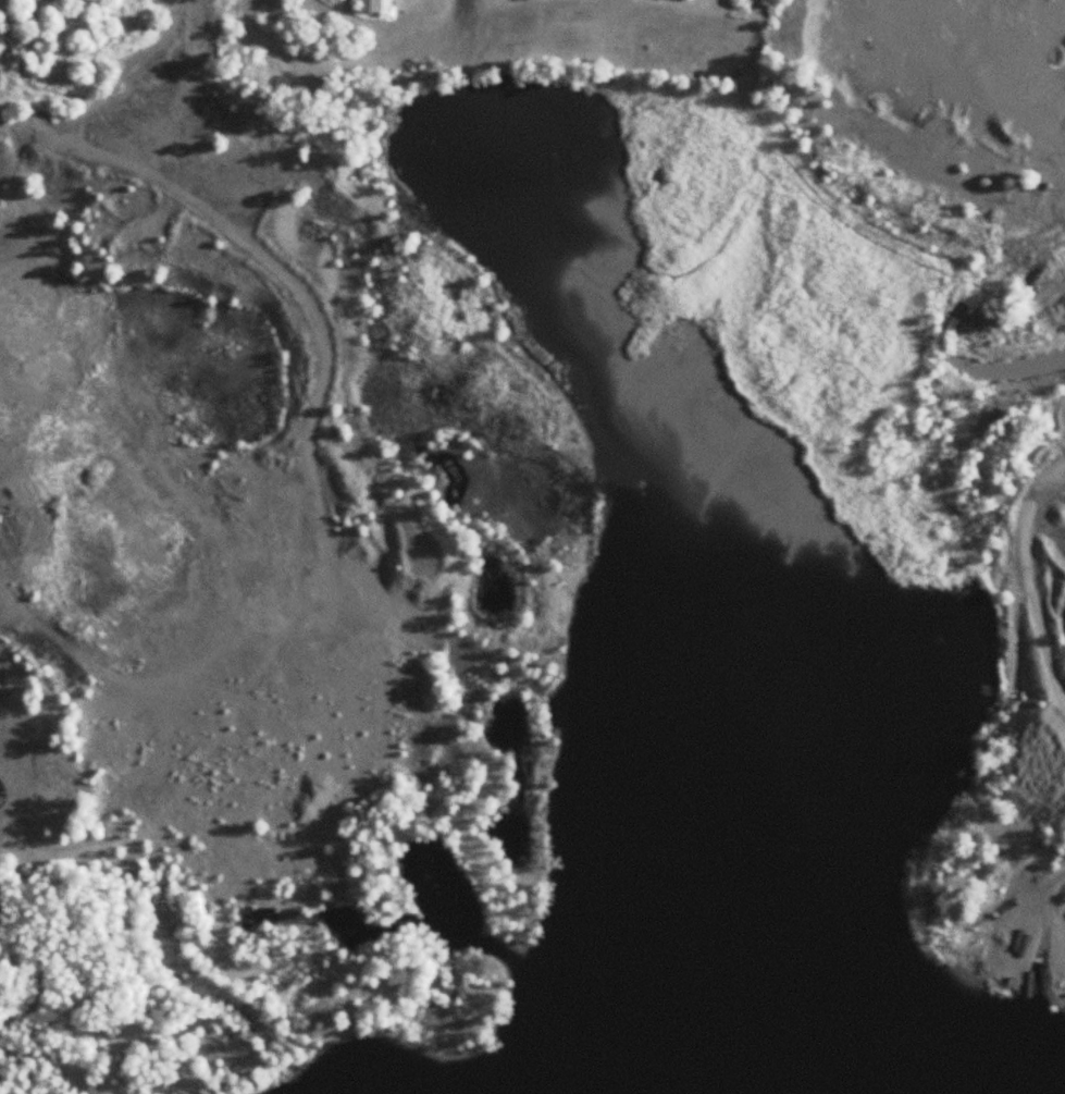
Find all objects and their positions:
building: (375, 7)
road: (53, 630)

